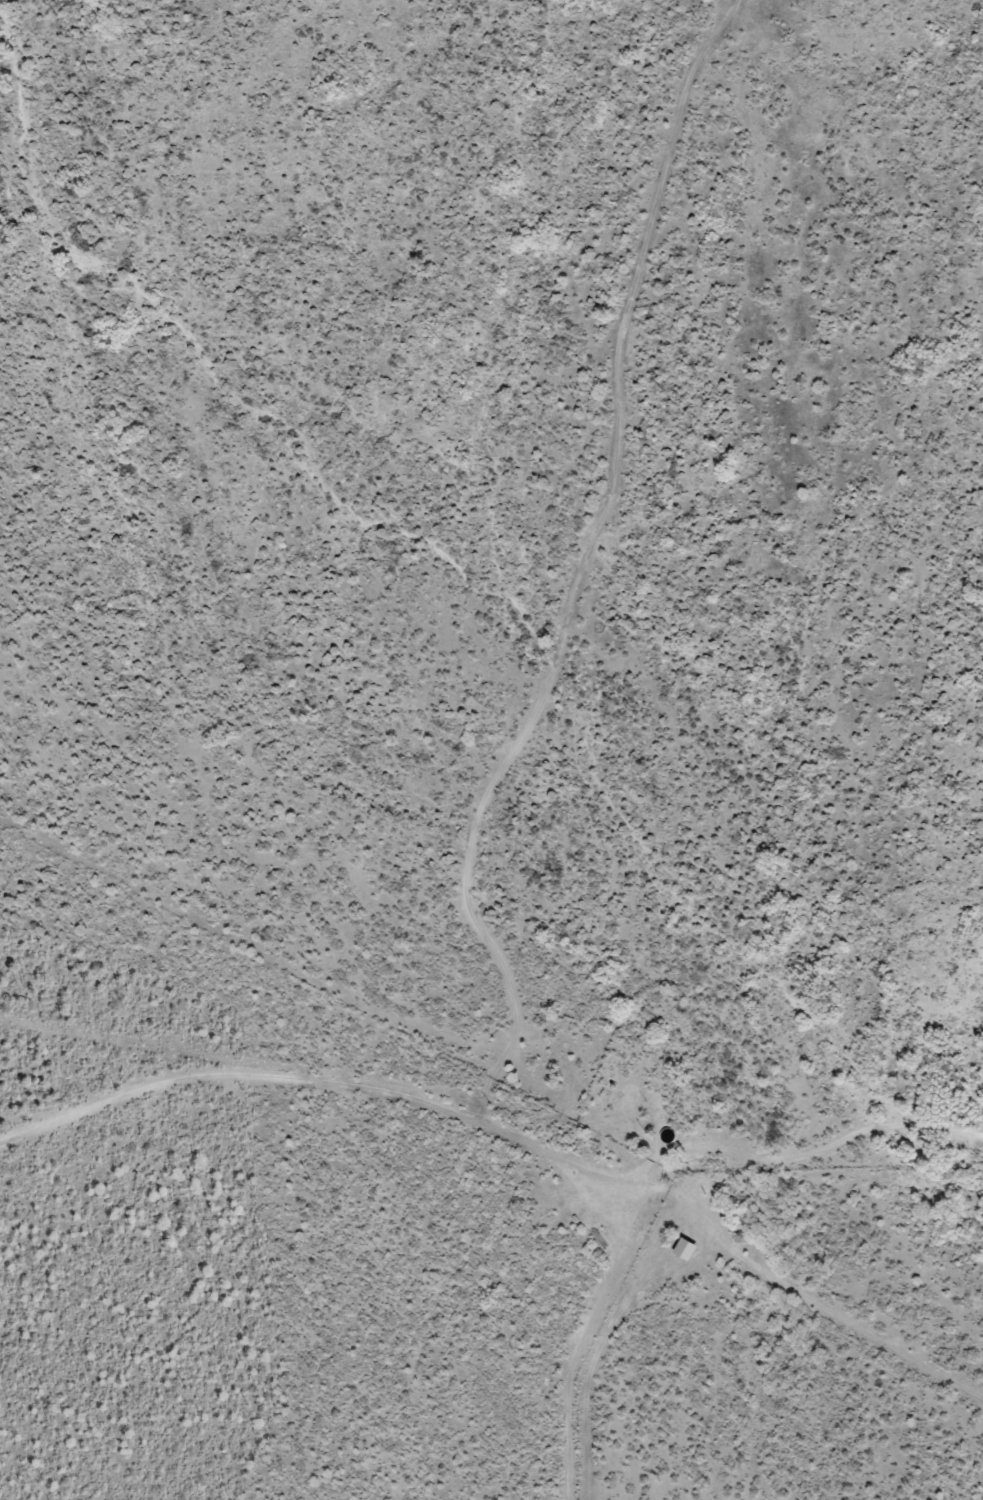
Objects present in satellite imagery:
road: (594, 586)
road: (488, 1125)
road: (602, 1324)

